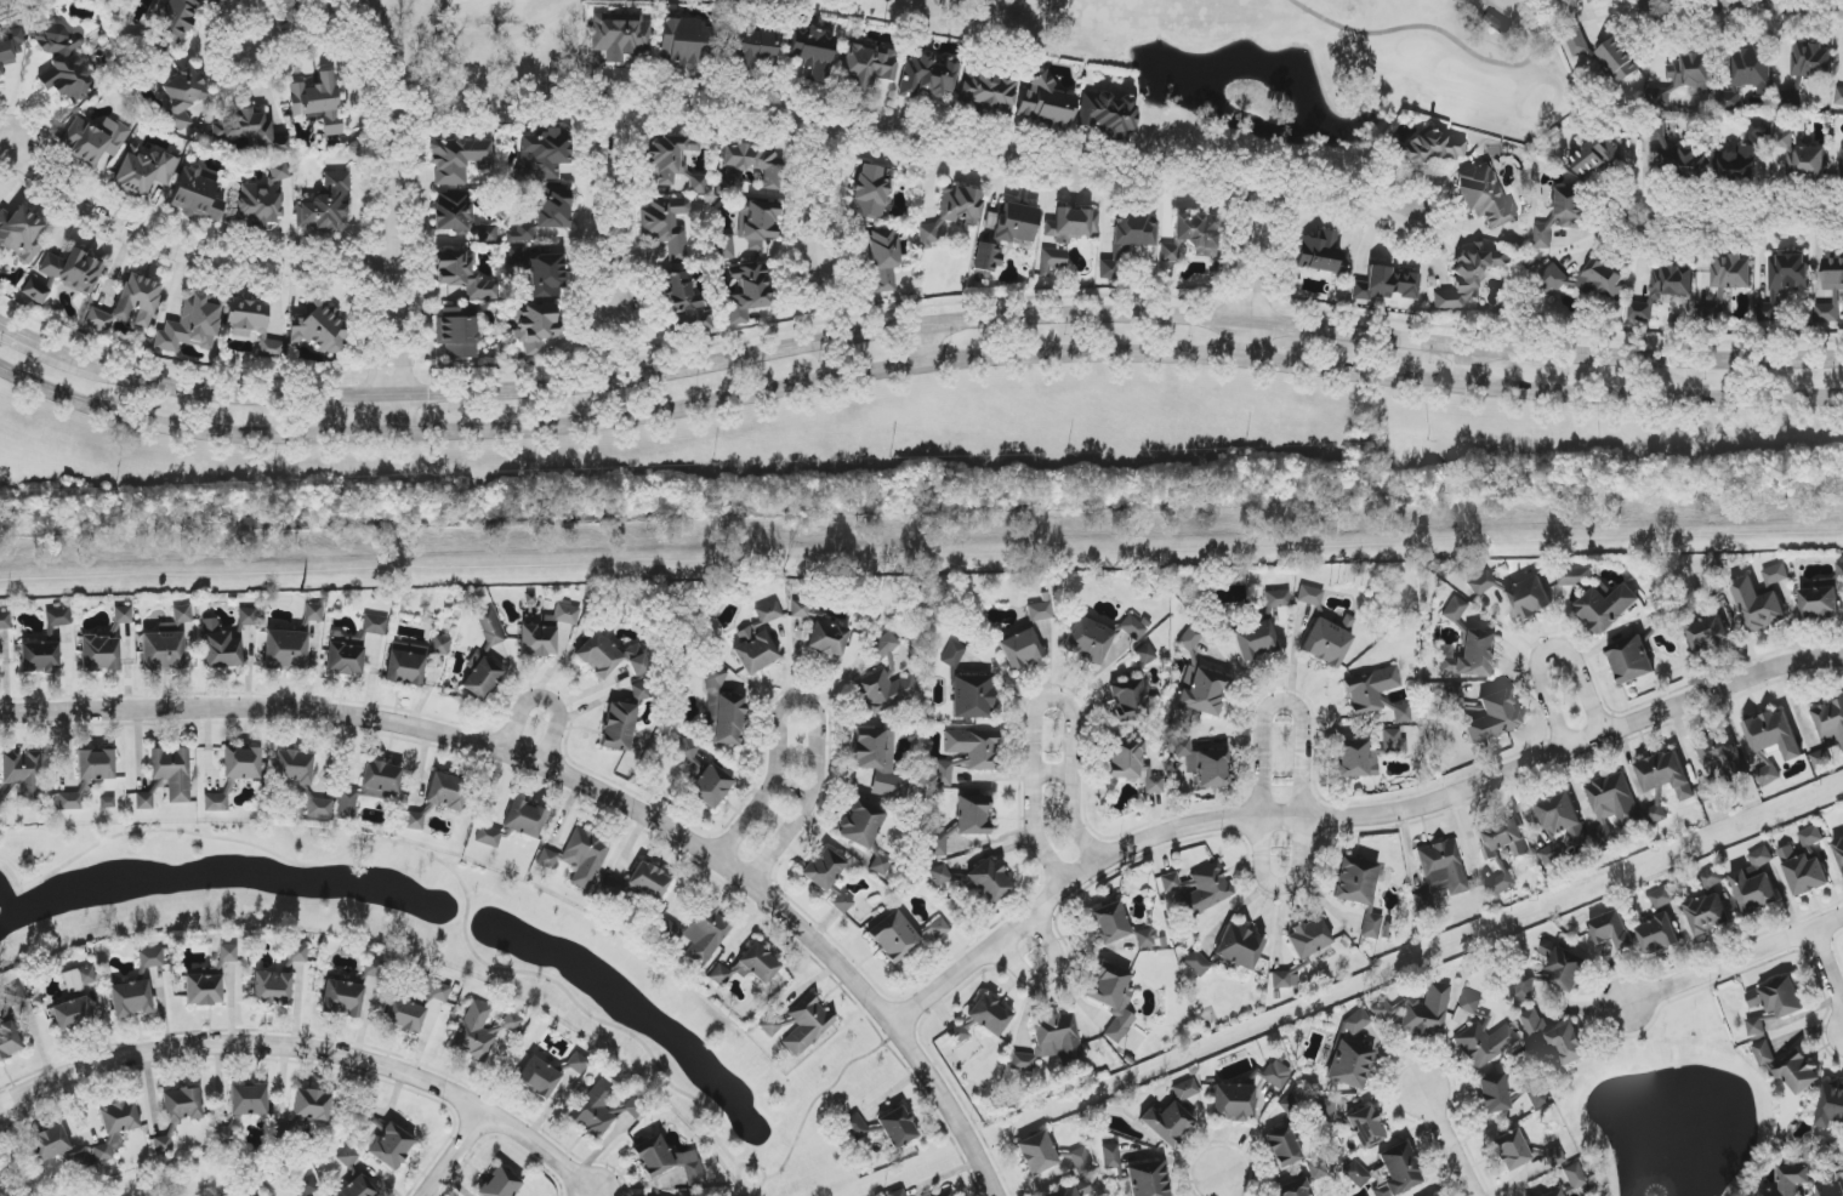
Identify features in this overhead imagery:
building: (222, 1)
building: (1588, 1)
road: (1751, 6)
building: (621, 17)
building: (175, 21)
building: (620, 38)
building: (678, 41)
building: (1577, 42)
park: (1210, 46)
building: (752, 49)
building: (10, 50)
building: (814, 53)
building: (1619, 59)
building: (1811, 61)
building: (62, 62)
building: (868, 66)
building: (1752, 67)
building: (1690, 72)
building: (927, 74)
building: (989, 91)
road: (386, 96)
building: (182, 97)
building: (1656, 97)
building: (1838, 97)
building: (1729, 99)
building: (318, 102)
building: (1046, 104)
building: (1108, 115)
building: (248, 130)
building: (1757, 131)
building: (1782, 136)
building: (95, 139)
road: (901, 142)
building: (1432, 149)
building: (1673, 152)
building: (544, 155)
building: (1595, 156)
building: (459, 160)
building: (1841, 161)
building: (673, 163)
building: (1805, 163)
building: (752, 164)
building: (1737, 165)
building: (143, 170)
building: (871, 192)
building: (195, 195)
building: (263, 197)
road: (807, 197)
building: (1484, 197)
building: (326, 205)
road: (605, 211)
building: (954, 211)
building: (454, 212)
building: (545, 213)
building: (1562, 216)
building: (757, 222)
road: (1612, 222)
road: (1752, 222)
building: (1071, 224)
building: (666, 226)
building: (1198, 233)
building: (21, 234)
building: (1006, 234)
building: (1127, 240)
building: (726, 246)
road: (181, 252)
building: (1170, 254)
building: (1320, 254)
building: (517, 256)
building: (883, 261)
building: (1052, 261)
building: (73, 270)
building: (1731, 272)
road: (1250, 274)
building: (463, 275)
building: (1469, 275)
building: (545, 277)
building: (1784, 280)
building: (1588, 281)
building: (1387, 284)
building: (1831, 287)
building: (35, 289)
building: (1662, 290)
building: (746, 292)
building: (682, 297)
building: (129, 304)
building: (252, 324)
building: (190, 325)
building: (535, 328)
road: (914, 328)
building: (319, 329)
building: (457, 334)
road: (926, 343)
road: (380, 352)
road: (403, 352)
road: (916, 363)
road: (1469, 372)
building: (1775, 575)
building: (1575, 576)
building: (1481, 583)
building: (1310, 596)
building: (1278, 599)
building: (1528, 599)
building: (1757, 605)
building: (1605, 606)
building: (1455, 609)
building: (1040, 611)
building: (313, 613)
building: (182, 614)
building: (123, 615)
building: (562, 615)
building: (248, 616)
building: (58, 617)
building: (5, 621)
building: (1659, 621)
building: (374, 625)
building: (169, 627)
building: (1132, 628)
building: (1707, 633)
building: (827, 639)
building: (1189, 639)
building: (537, 640)
building: (758, 640)
building: (1087, 640)
building: (1255, 640)
building: (440, 643)
building: (1326, 643)
building: (221, 647)
building: (882, 647)
building: (1020, 649)
building: (286, 650)
building: (163, 651)
building: (345, 653)
road: (1549, 653)
building: (99, 654)
building: (598, 655)
building: (952, 655)
building: (1145, 655)
building: (40, 656)
building: (1469, 656)
building: (484, 659)
building: (636, 660)
building: (1631, 660)
building: (405, 664)
building: (643, 690)
building: (1370, 690)
building: (886, 691)
building: (1202, 691)
building: (972, 697)
building: (1454, 697)
building: (1128, 699)
road: (545, 700)
road: (1041, 704)
road: (806, 705)
building: (723, 713)
building: (1401, 714)
building: (1492, 717)
building: (618, 727)
building: (1827, 730)
building: (1773, 735)
building: (1393, 741)
building: (974, 747)
building: (686, 754)
building: (1723, 754)
building: (1355, 759)
building: (880, 762)
building: (241, 763)
building: (1132, 764)
building: (1204, 764)
building: (96, 765)
building: (292, 767)
road: (1302, 771)
building: (172, 773)
building: (943, 773)
road: (1053, 774)
building: (1665, 774)
building: (24, 775)
building: (1768, 775)
road: (582, 785)
building: (369, 787)
building: (711, 787)
building: (1708, 791)
building: (446, 792)
road: (787, 796)
building: (144, 801)
building: (69, 802)
building: (216, 803)
building: (1612, 807)
building: (319, 808)
building: (1656, 814)
building: (973, 815)
road: (1352, 816)
building: (524, 819)
building: (414, 821)
building: (861, 824)
building: (1559, 830)
building: (1810, 836)
building: (488, 837)
building: (1502, 838)
building: (937, 843)
building: (1839, 853)
road: (432, 856)
building: (579, 858)
building: (881, 865)
building: (824, 868)
building: (1440, 872)
building: (1803, 872)
building: (940, 875)
building: (1712, 877)
building: (648, 881)
building: (989, 881)
building: (1501, 883)
building: (1756, 883)
building: (1198, 890)
building: (1359, 890)
building: (1662, 898)
building: (843, 900)
fountain: (0, 912)
building: (1707, 913)
building: (1109, 923)
building: (935, 930)
building: (1612, 930)
building: (706, 933)
building: (1657, 935)
building: (894, 936)
building: (1308, 938)
building: (1145, 939)
building: (1239, 947)
building: (228, 953)
building: (297, 953)
building: (150, 958)
road: (1735, 961)
building: (1198, 963)
building: (747, 967)
building: (1563, 967)
building: (372, 969)
road: (1827, 972)
road: (1050, 975)
building: (79, 979)
building: (1284, 979)
building: (1525, 987)
building: (272, 989)
building: (204, 990)
building: (436, 990)
building: (13, 996)
building: (342, 997)
building: (131, 998)
building: (1777, 998)
building: (1113, 999)
building: (1471, 1003)
building: (1418, 1012)
building: (72, 1014)
building: (404, 1015)
building: (983, 1018)
building: (770, 1025)
building: (807, 1025)
building: (1756, 1026)
building: (480, 1031)
building: (1554, 1040)
building: (8, 1041)
building: (1052, 1042)
building: (1484, 1042)
road: (311, 1050)
building: (1352, 1053)
building: (1763, 1053)
building: (576, 1063)
building: (1797, 1072)
building: (1276, 1073)
building: (537, 1078)
building: (1185, 1089)
road: (821, 1094)
building: (1494, 1094)
building: (1536, 1095)
building: (248, 1100)
building: (1233, 1101)
building: (182, 1105)
building: (312, 1105)
building: (1291, 1105)
building: (632, 1106)
building: (1830, 1106)
building: (366, 1109)
building: (595, 1109)
building: (1327, 1110)
building: (1166, 1122)
building: (115, 1127)
building: (855, 1127)
building: (1365, 1127)
building: (897, 1128)
building: (224, 1134)
building: (283, 1134)
building: (49, 1143)
road: (1447, 1143)
building: (163, 1145)
building: (389, 1145)
building: (1282, 1147)
building: (1511, 1150)
road: (454, 1154)
building: (1037, 1154)
building: (1554, 1156)
building: (348, 1157)
building: (1111, 1157)
building: (1081, 1160)
building: (667, 1161)
road: (749, 1163)
building: (1318, 1169)
building: (1398, 1171)
building: (1356, 1174)
building: (1574, 1177)
building: (1148, 1179)
building: (1790, 1180)
building: (499, 1184)
road: (4, 1186)
road: (1223, 1186)
building: (358, 1188)
building: (1291, 1188)
building: (1830, 1189)
building: (1075, 1190)
building: (897, 1192)
building: (945, 1192)
building: (1553, 1192)
building: (256, 1195)

